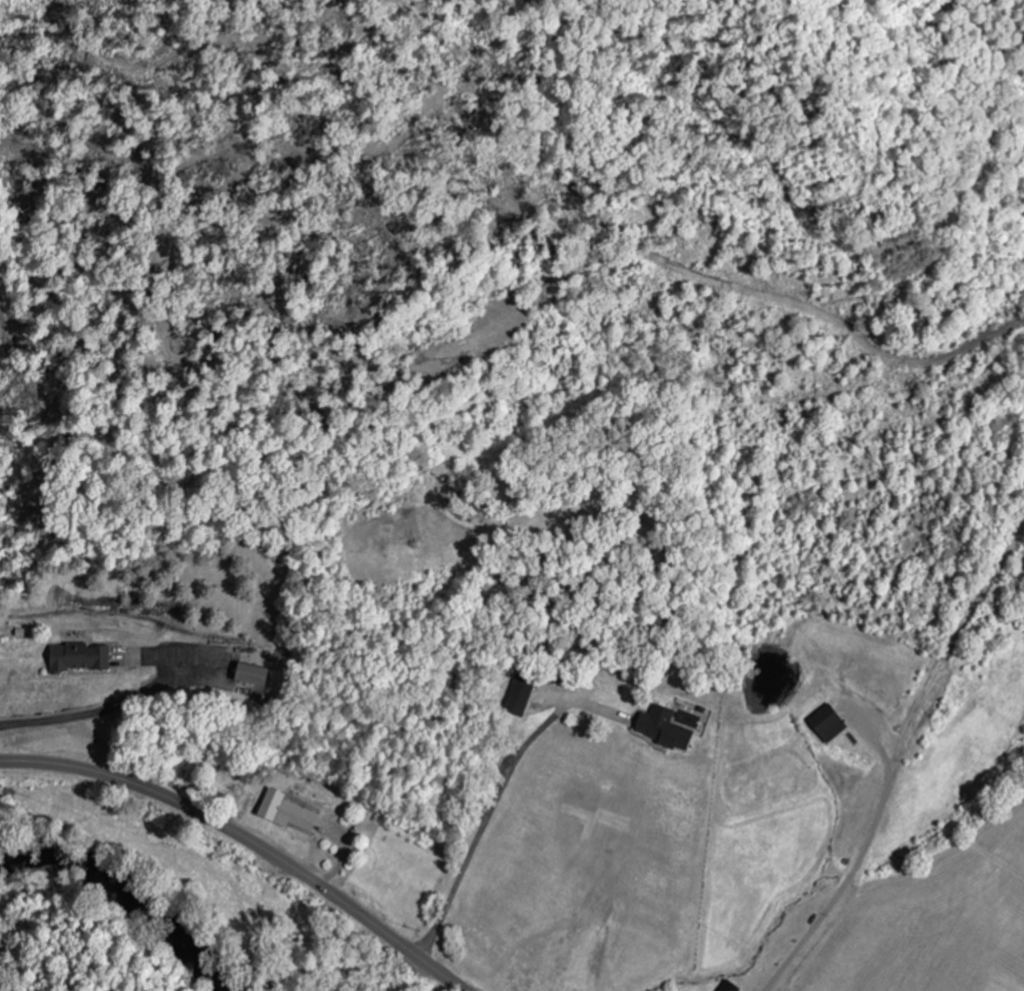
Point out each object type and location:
building: (78, 659)
building: (251, 676)
building: (523, 687)
building: (828, 725)
building: (664, 730)
building: (287, 814)
road: (249, 840)

